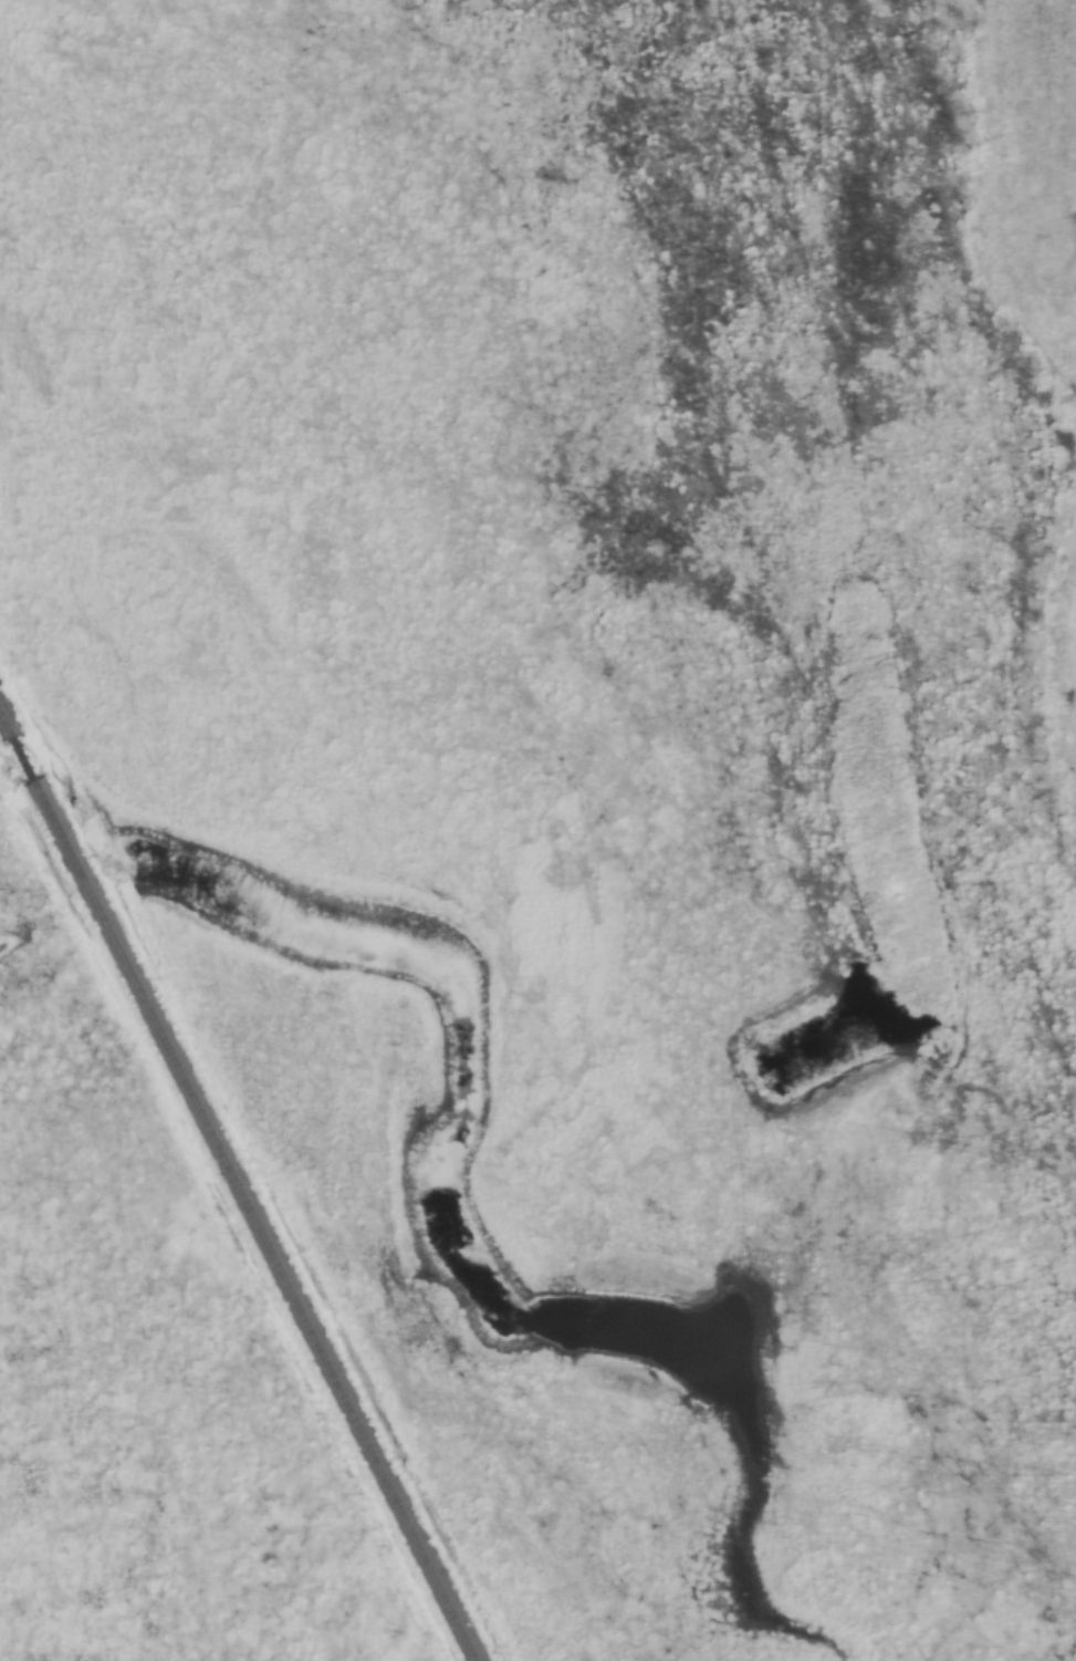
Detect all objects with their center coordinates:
railway: (6, 723)
railway: (23, 758)
railway: (255, 1221)

